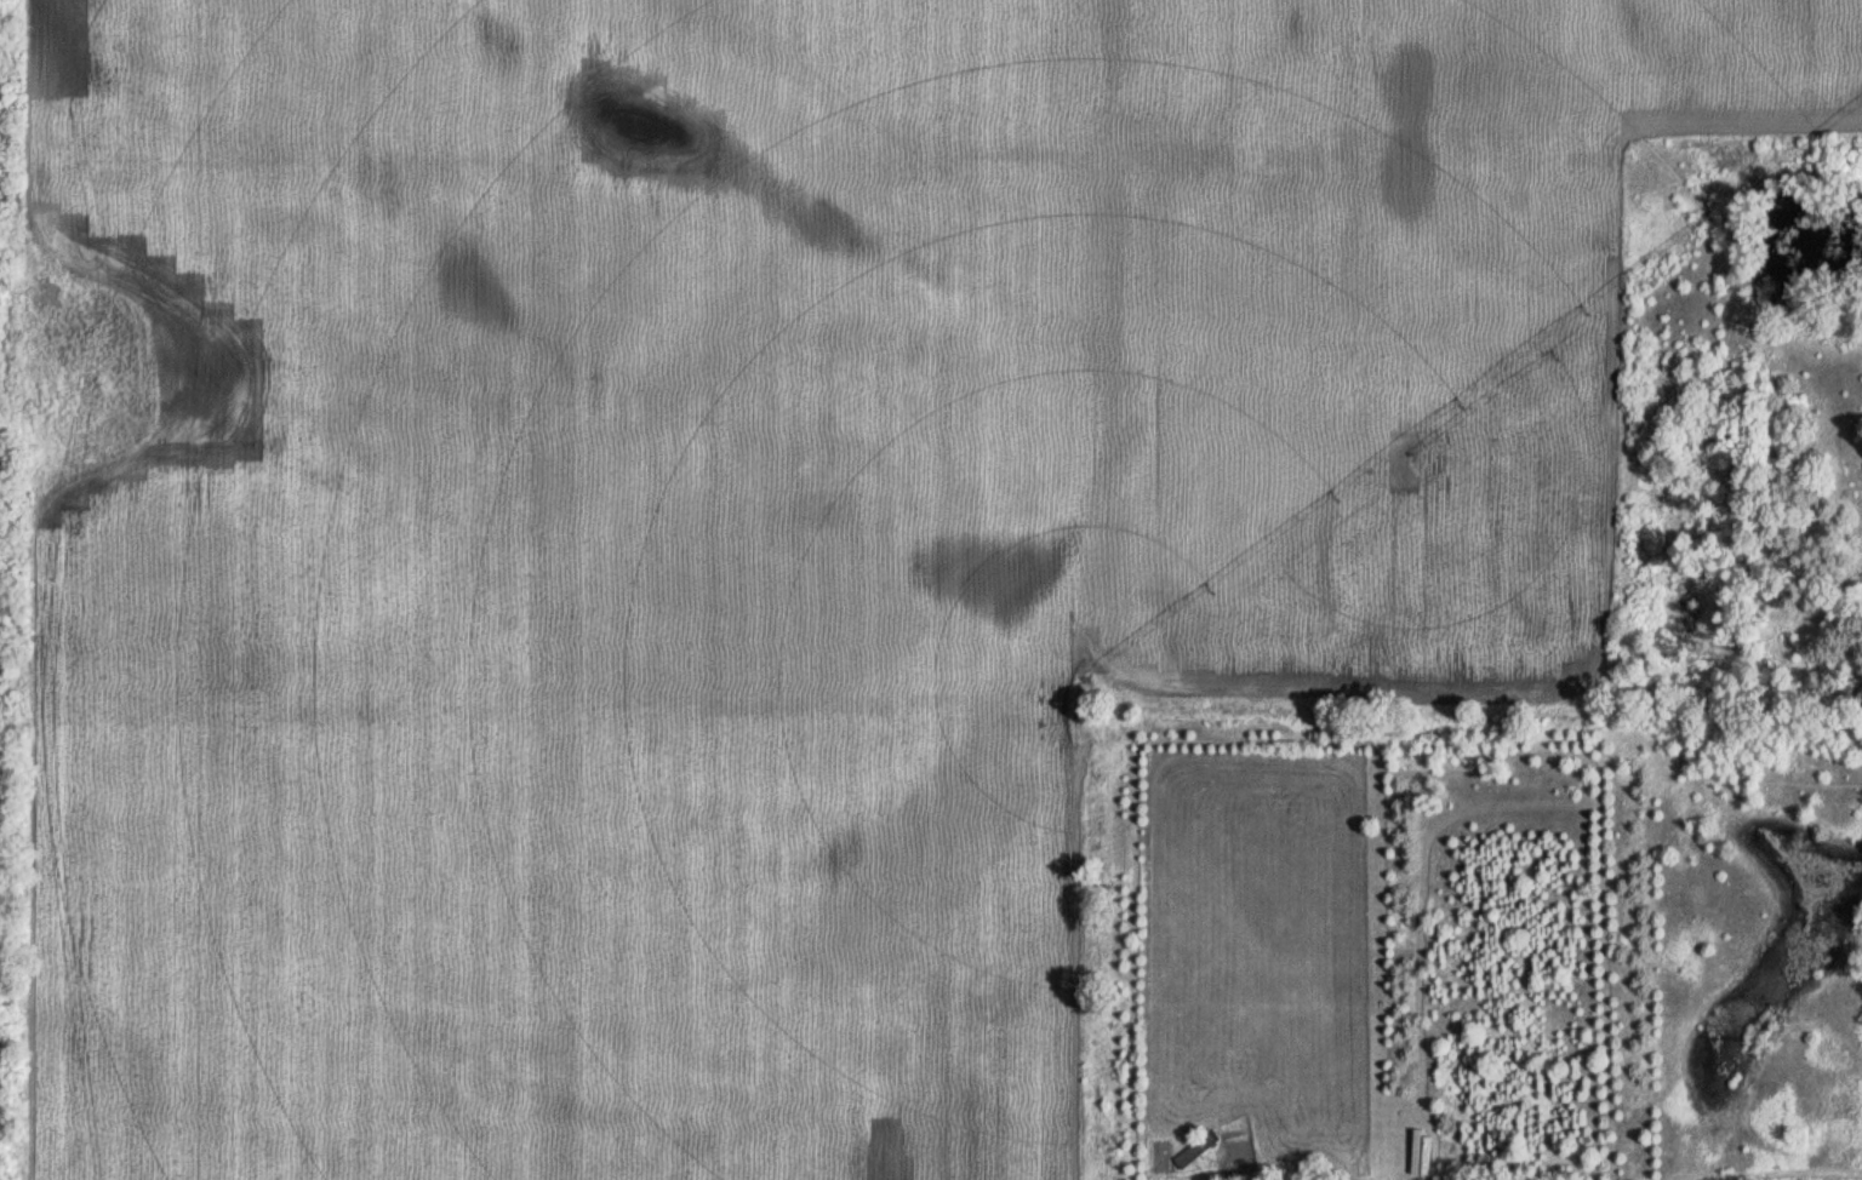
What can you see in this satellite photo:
building: (1195, 1149)

